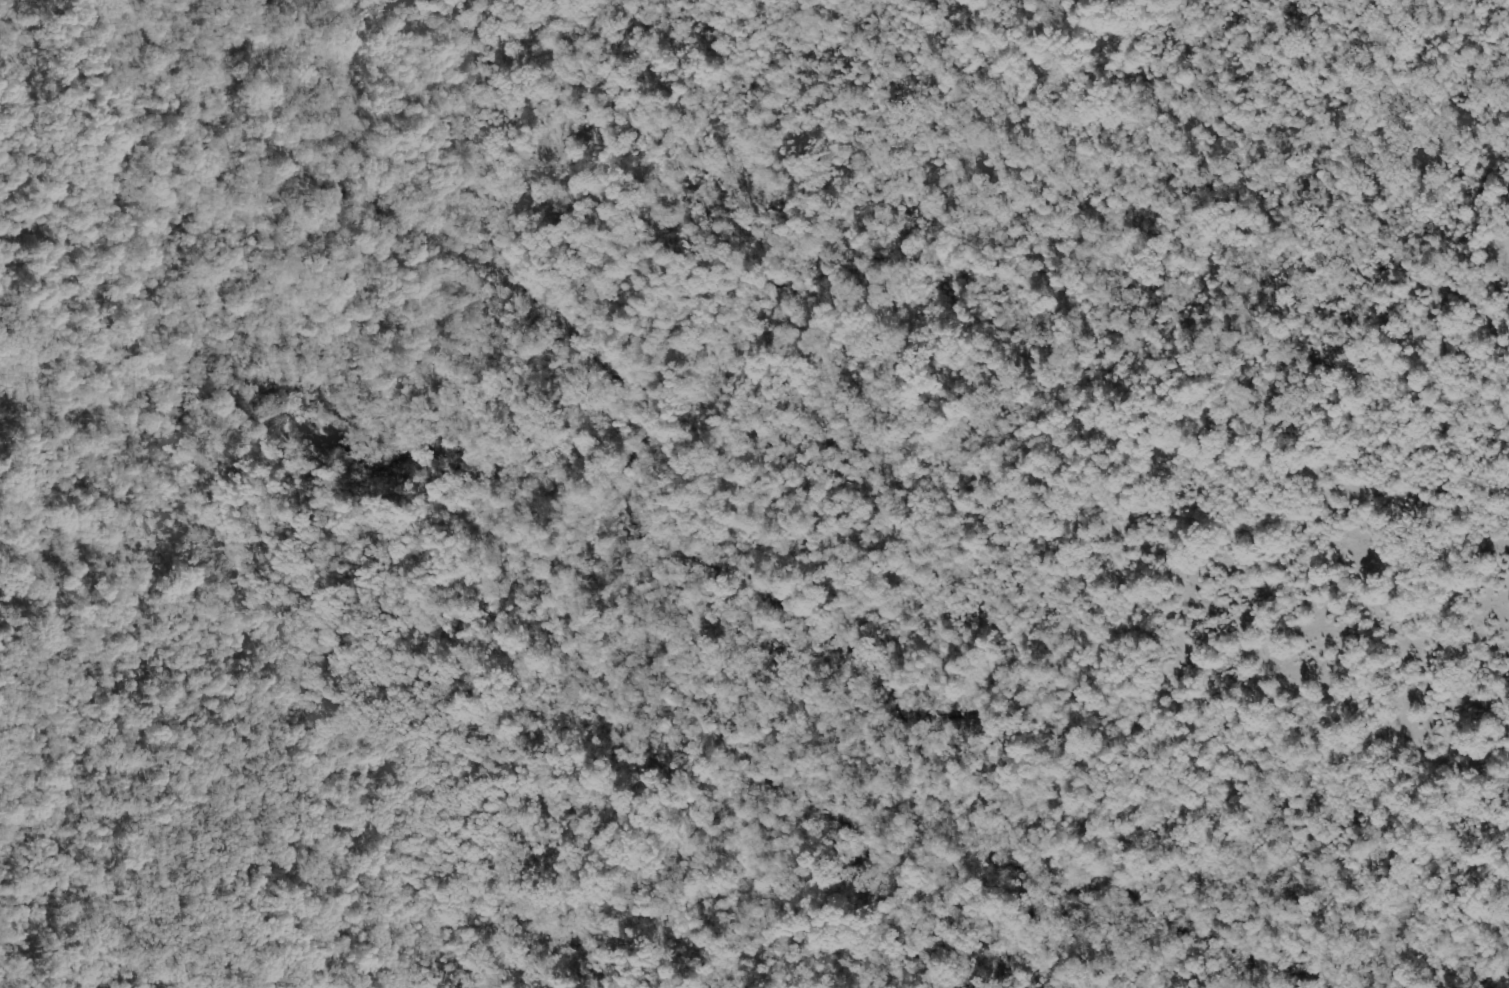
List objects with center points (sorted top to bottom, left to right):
road: (1490, 125)

